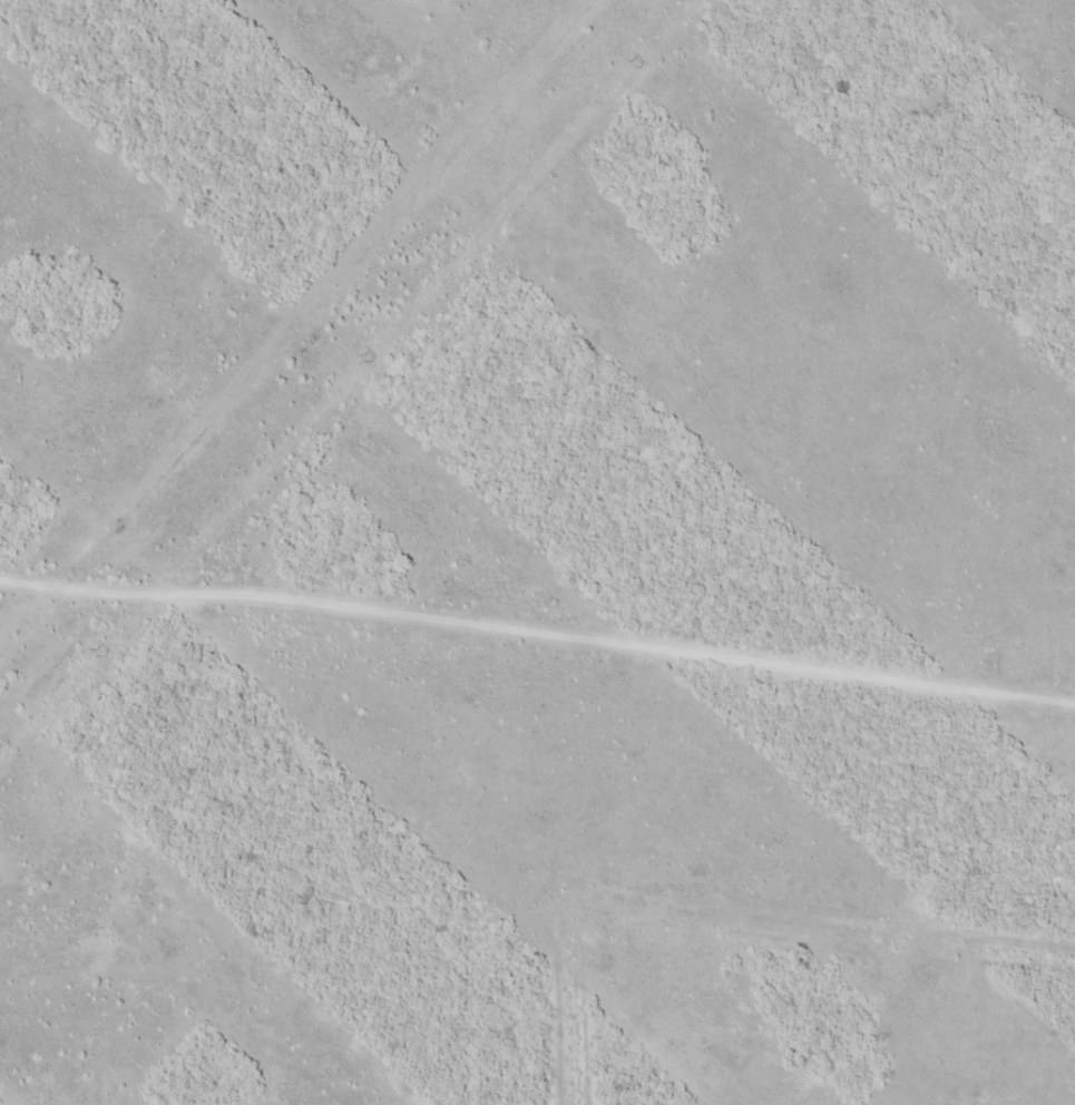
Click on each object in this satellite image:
power tower: (634, 63)
power tower: (368, 358)
power tower: (100, 652)

